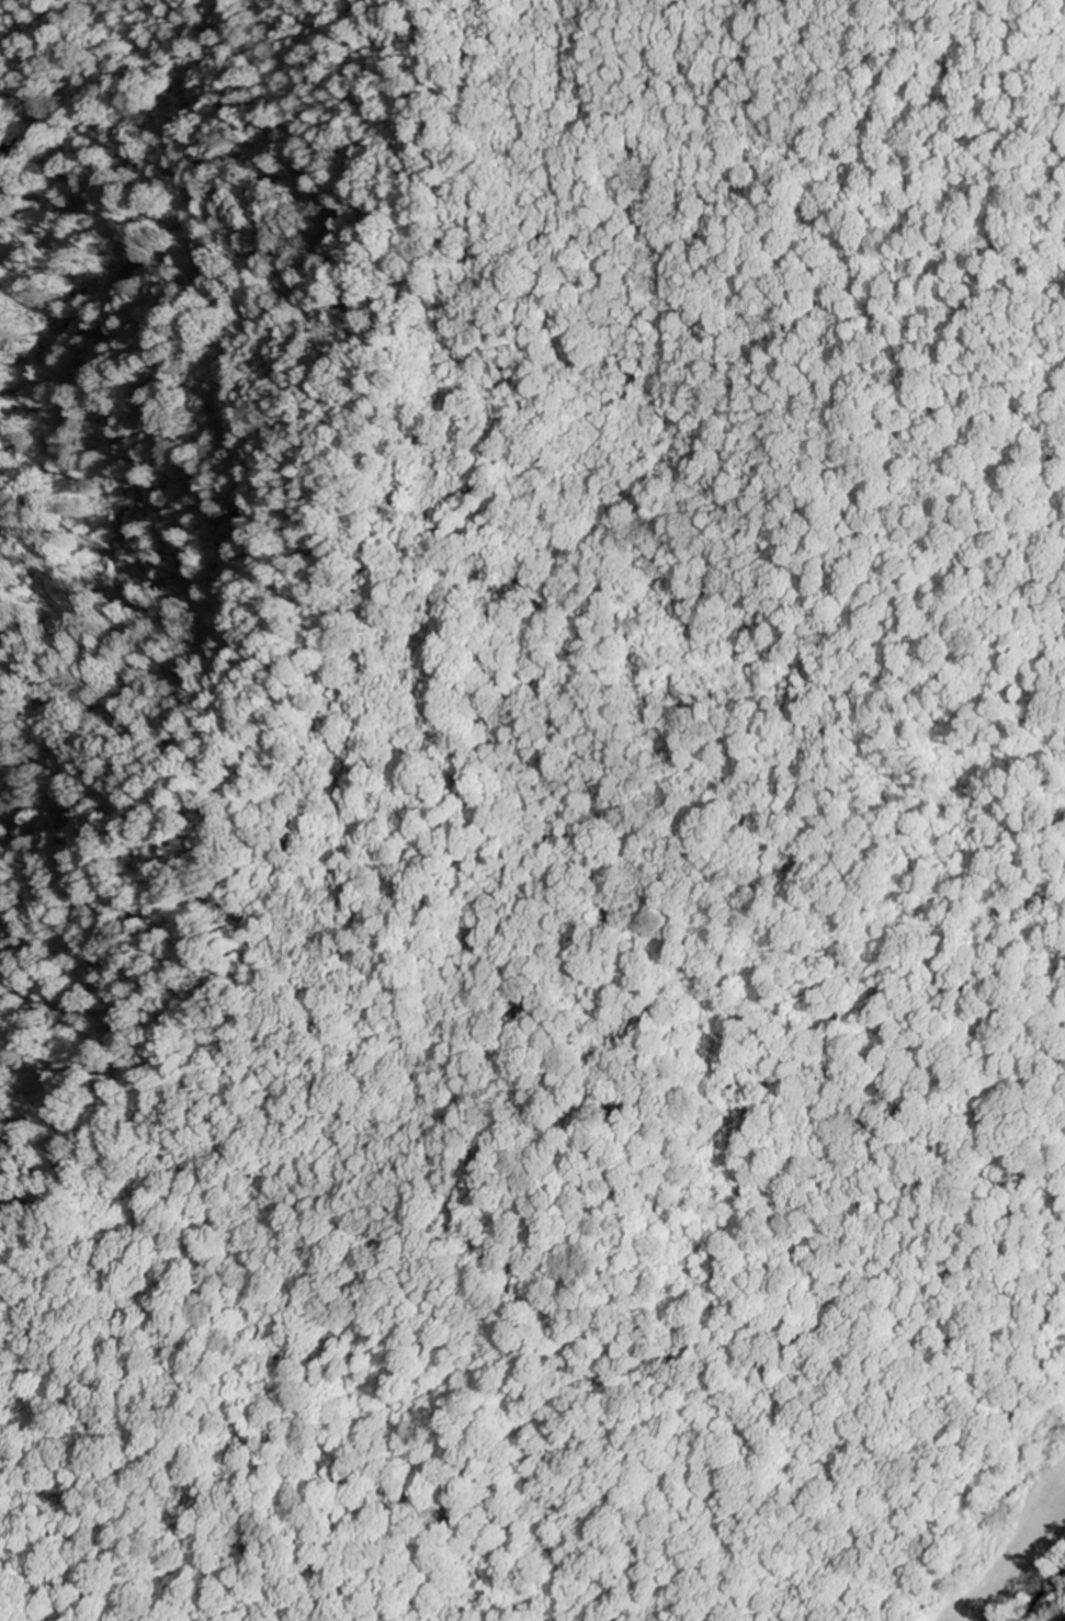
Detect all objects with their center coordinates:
road: (1064, 1620)

